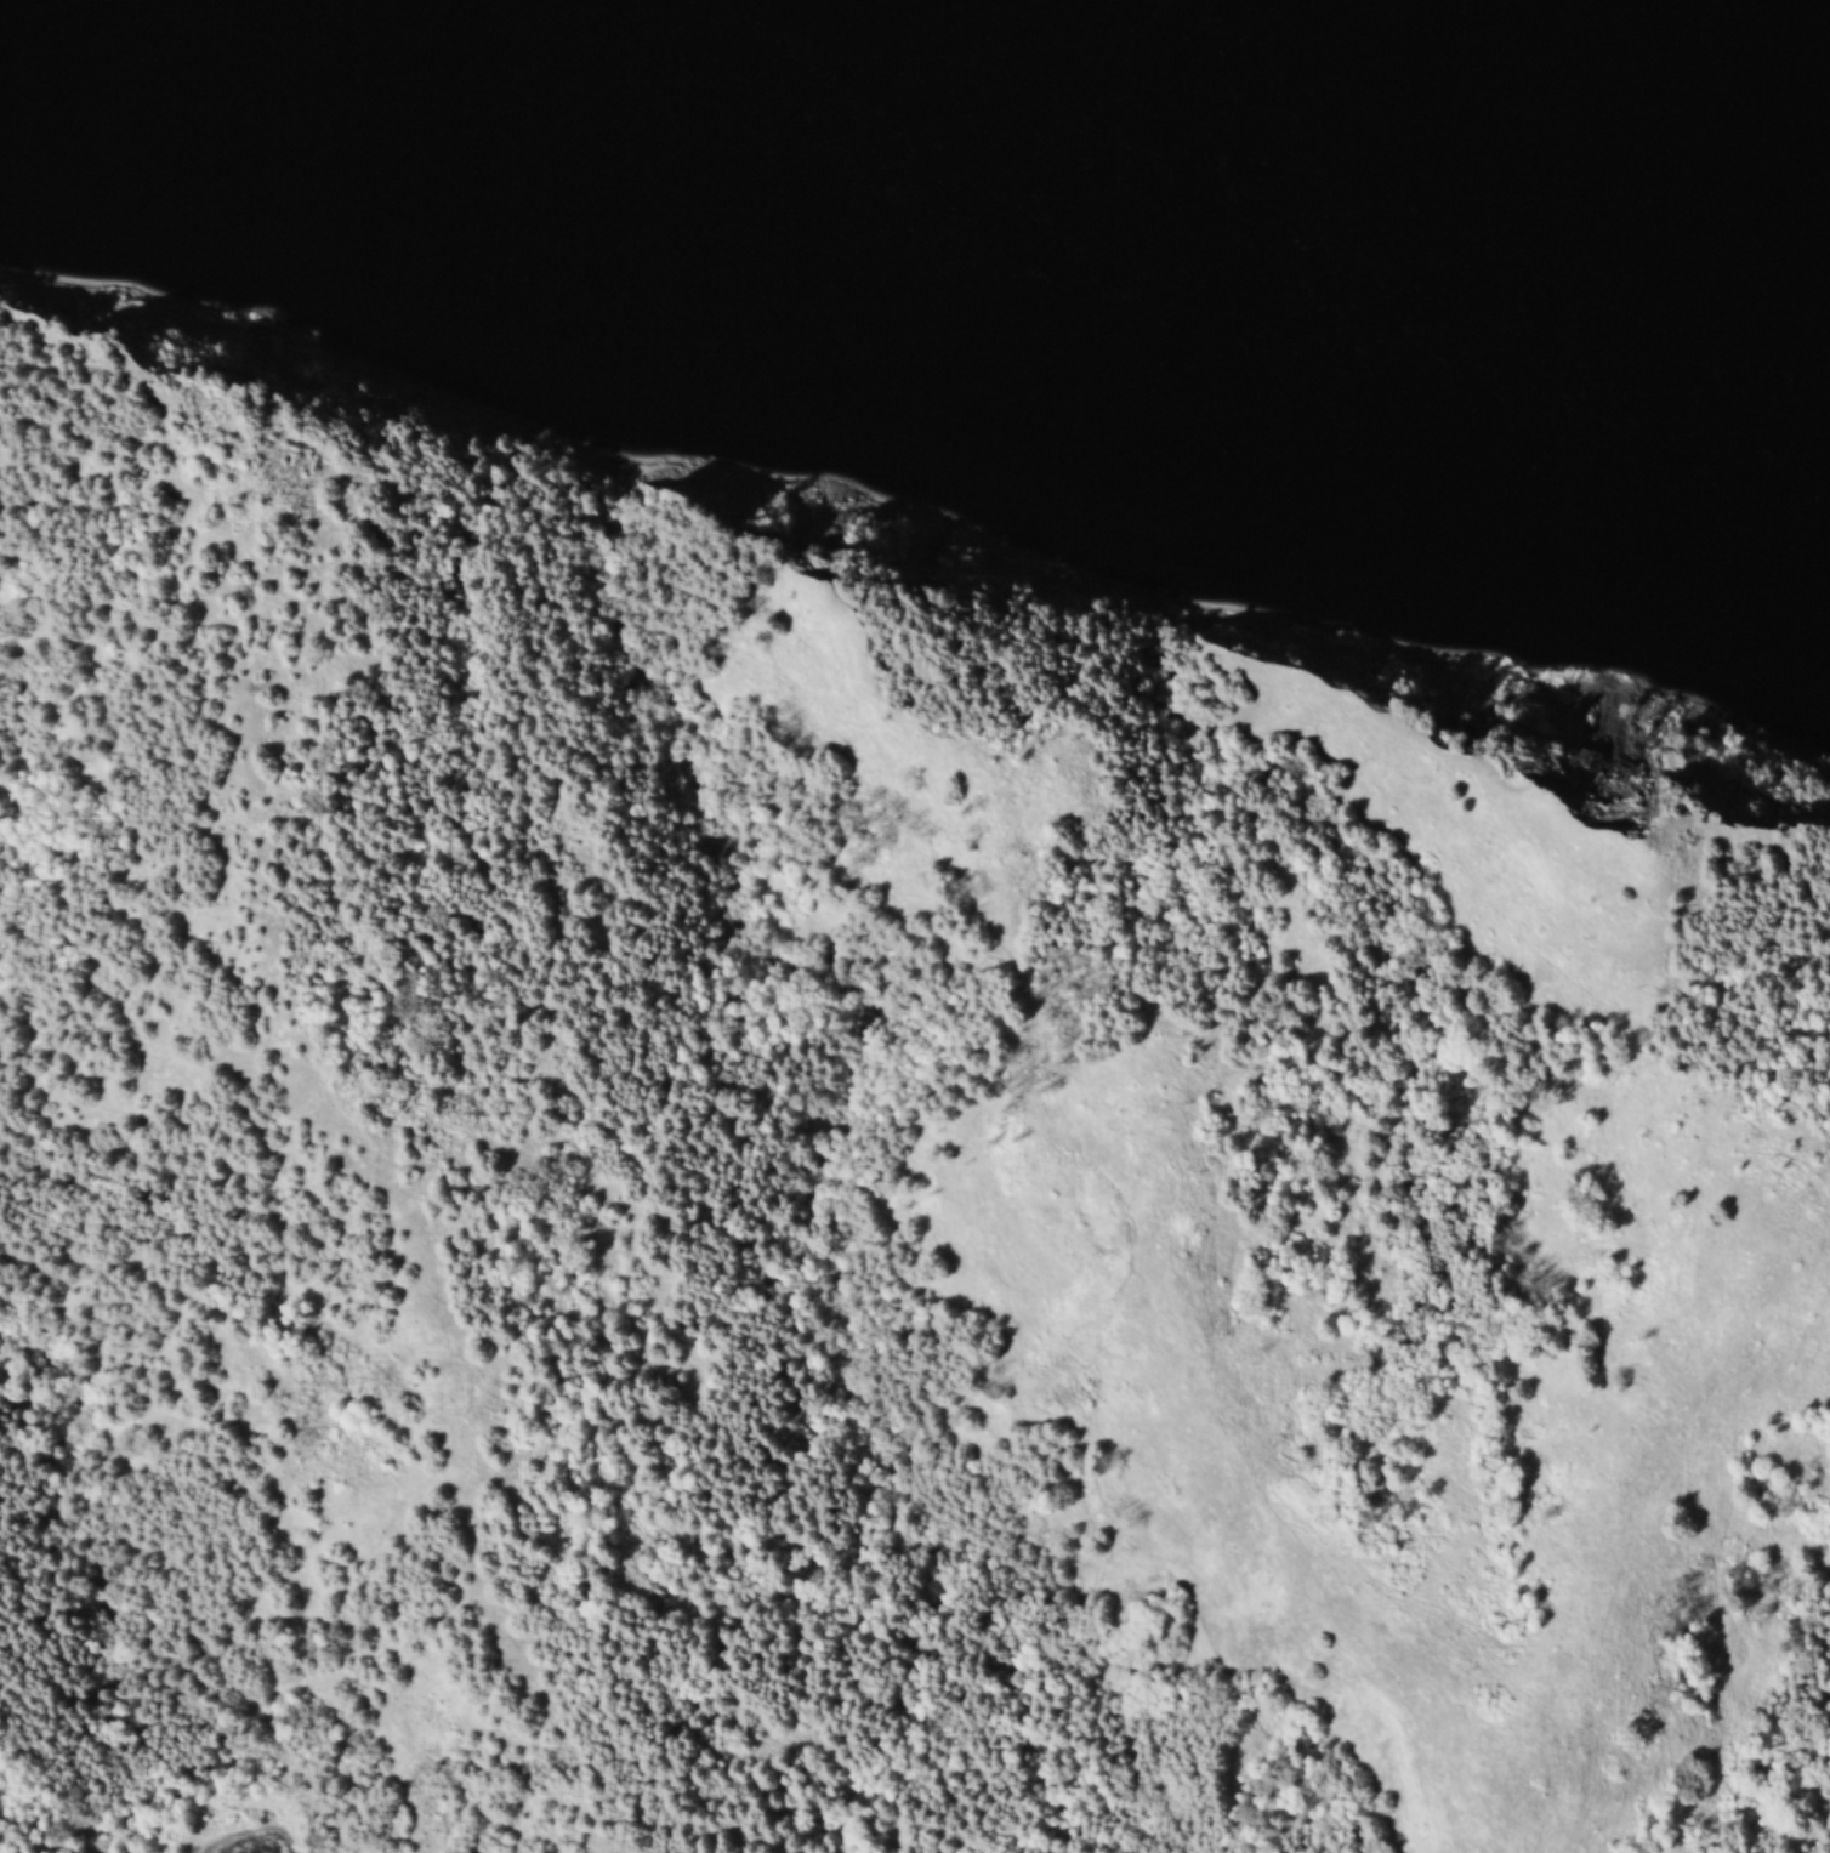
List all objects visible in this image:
river: (1328, 164)

